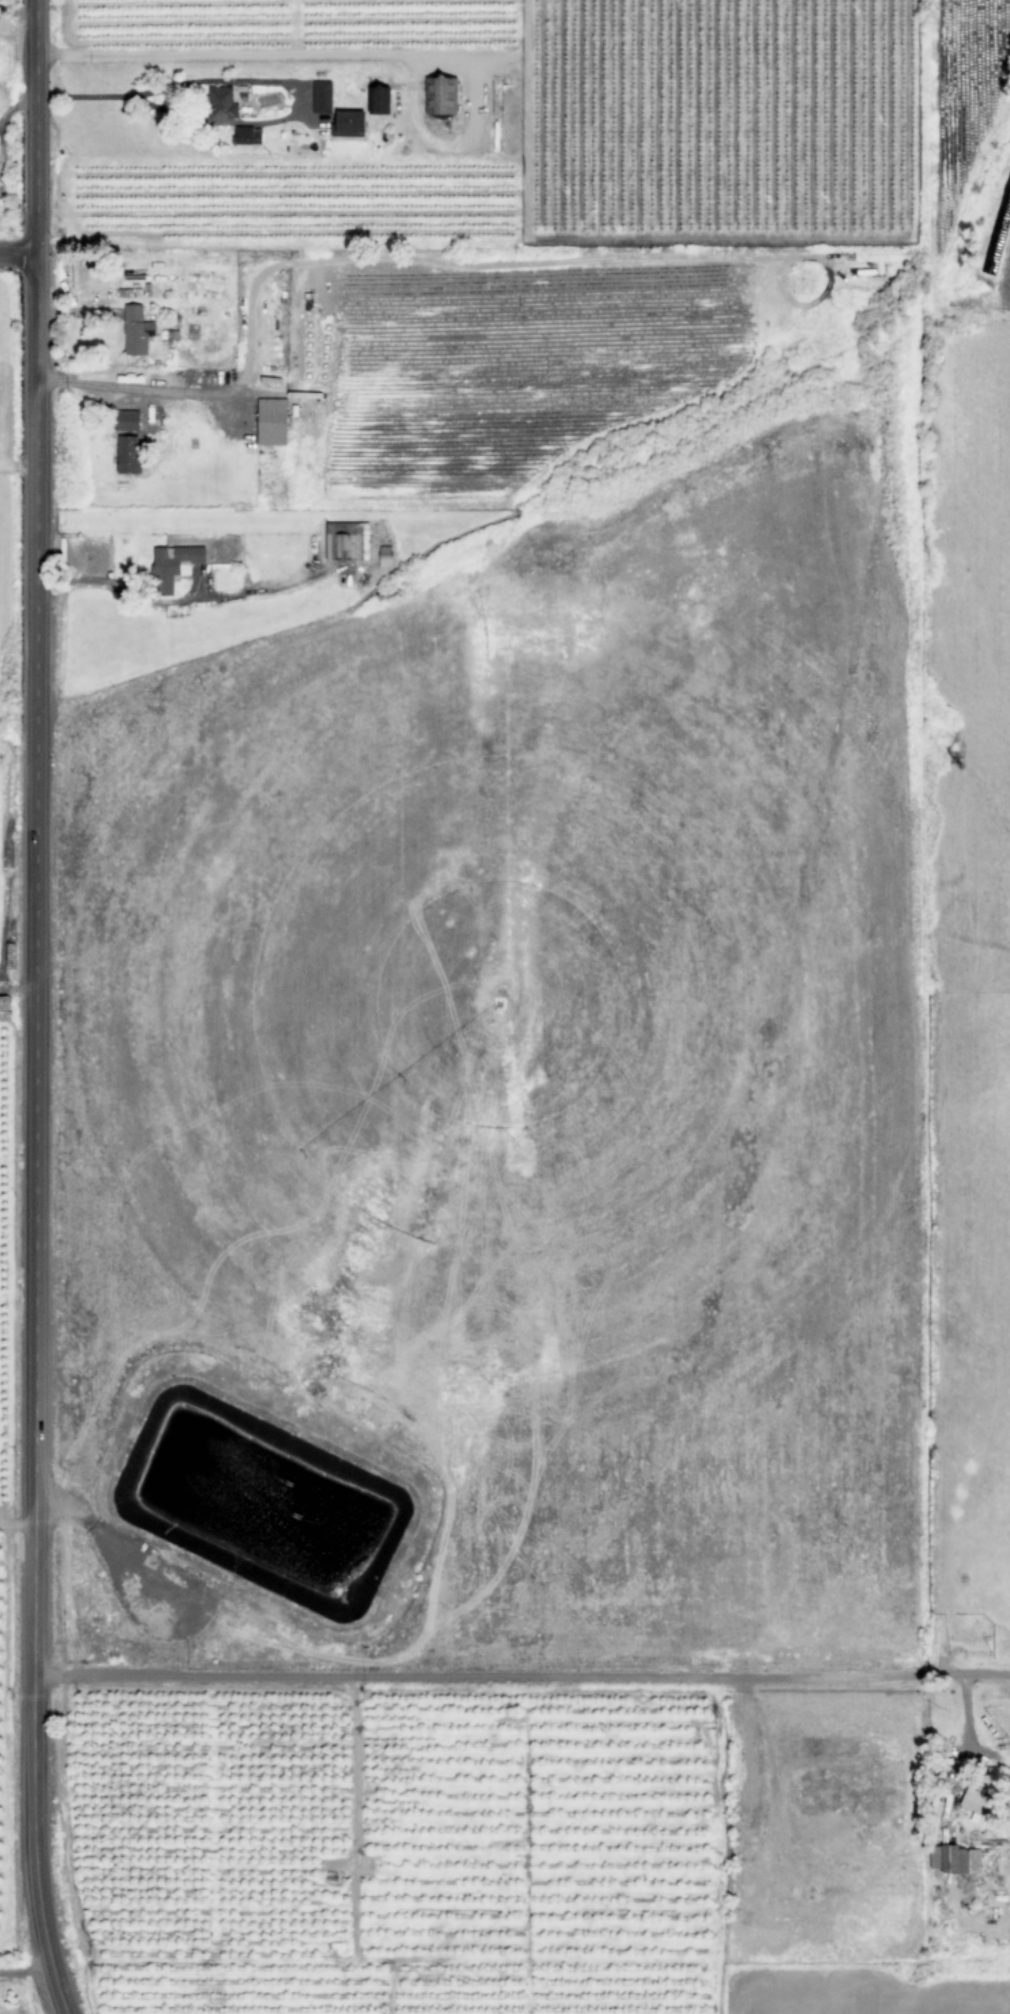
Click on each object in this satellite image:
building: (442, 95)
building: (321, 97)
building: (381, 101)
building: (220, 104)
building: (349, 124)
building: (247, 136)
road: (20, 255)
building: (135, 331)
building: (125, 420)
building: (271, 422)
building: (127, 455)
building: (346, 542)
building: (384, 557)
building: (171, 565)
road: (39, 1008)
road: (524, 1676)
building: (980, 1808)
building: (953, 1860)

